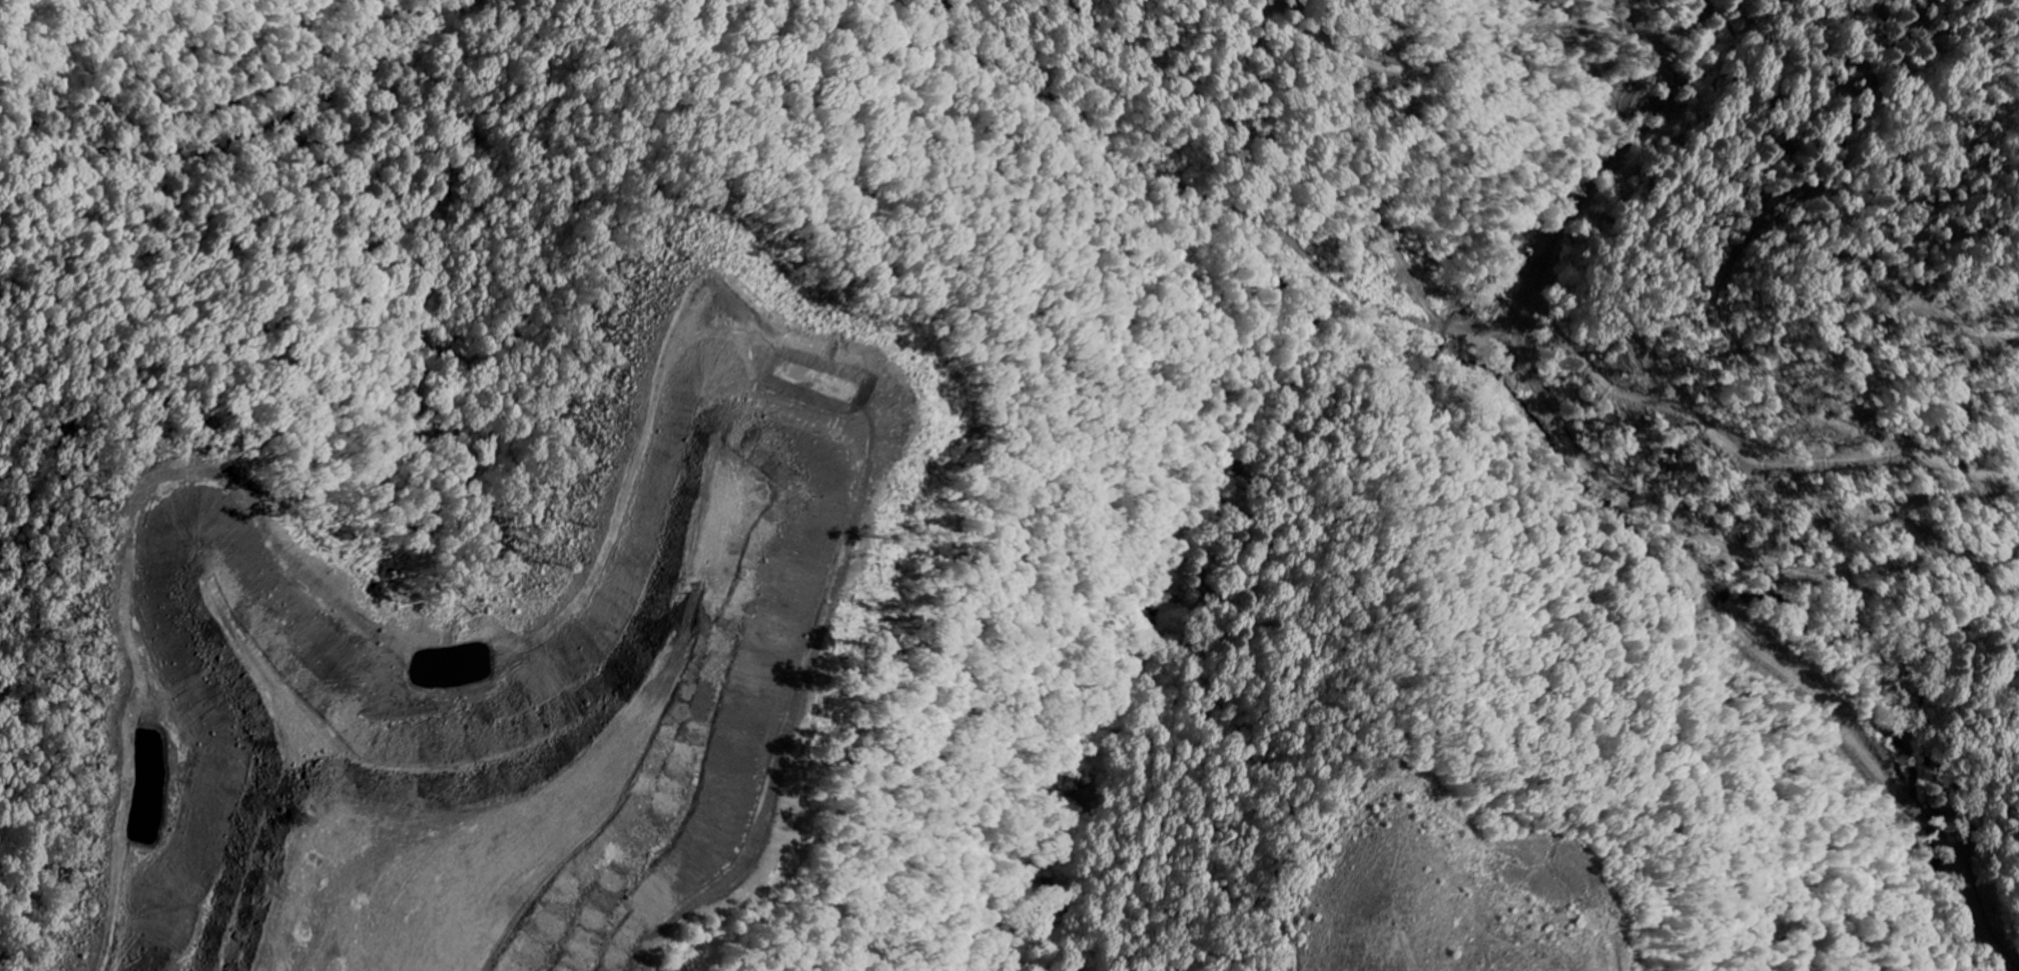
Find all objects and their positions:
quarry: (991, 820)

